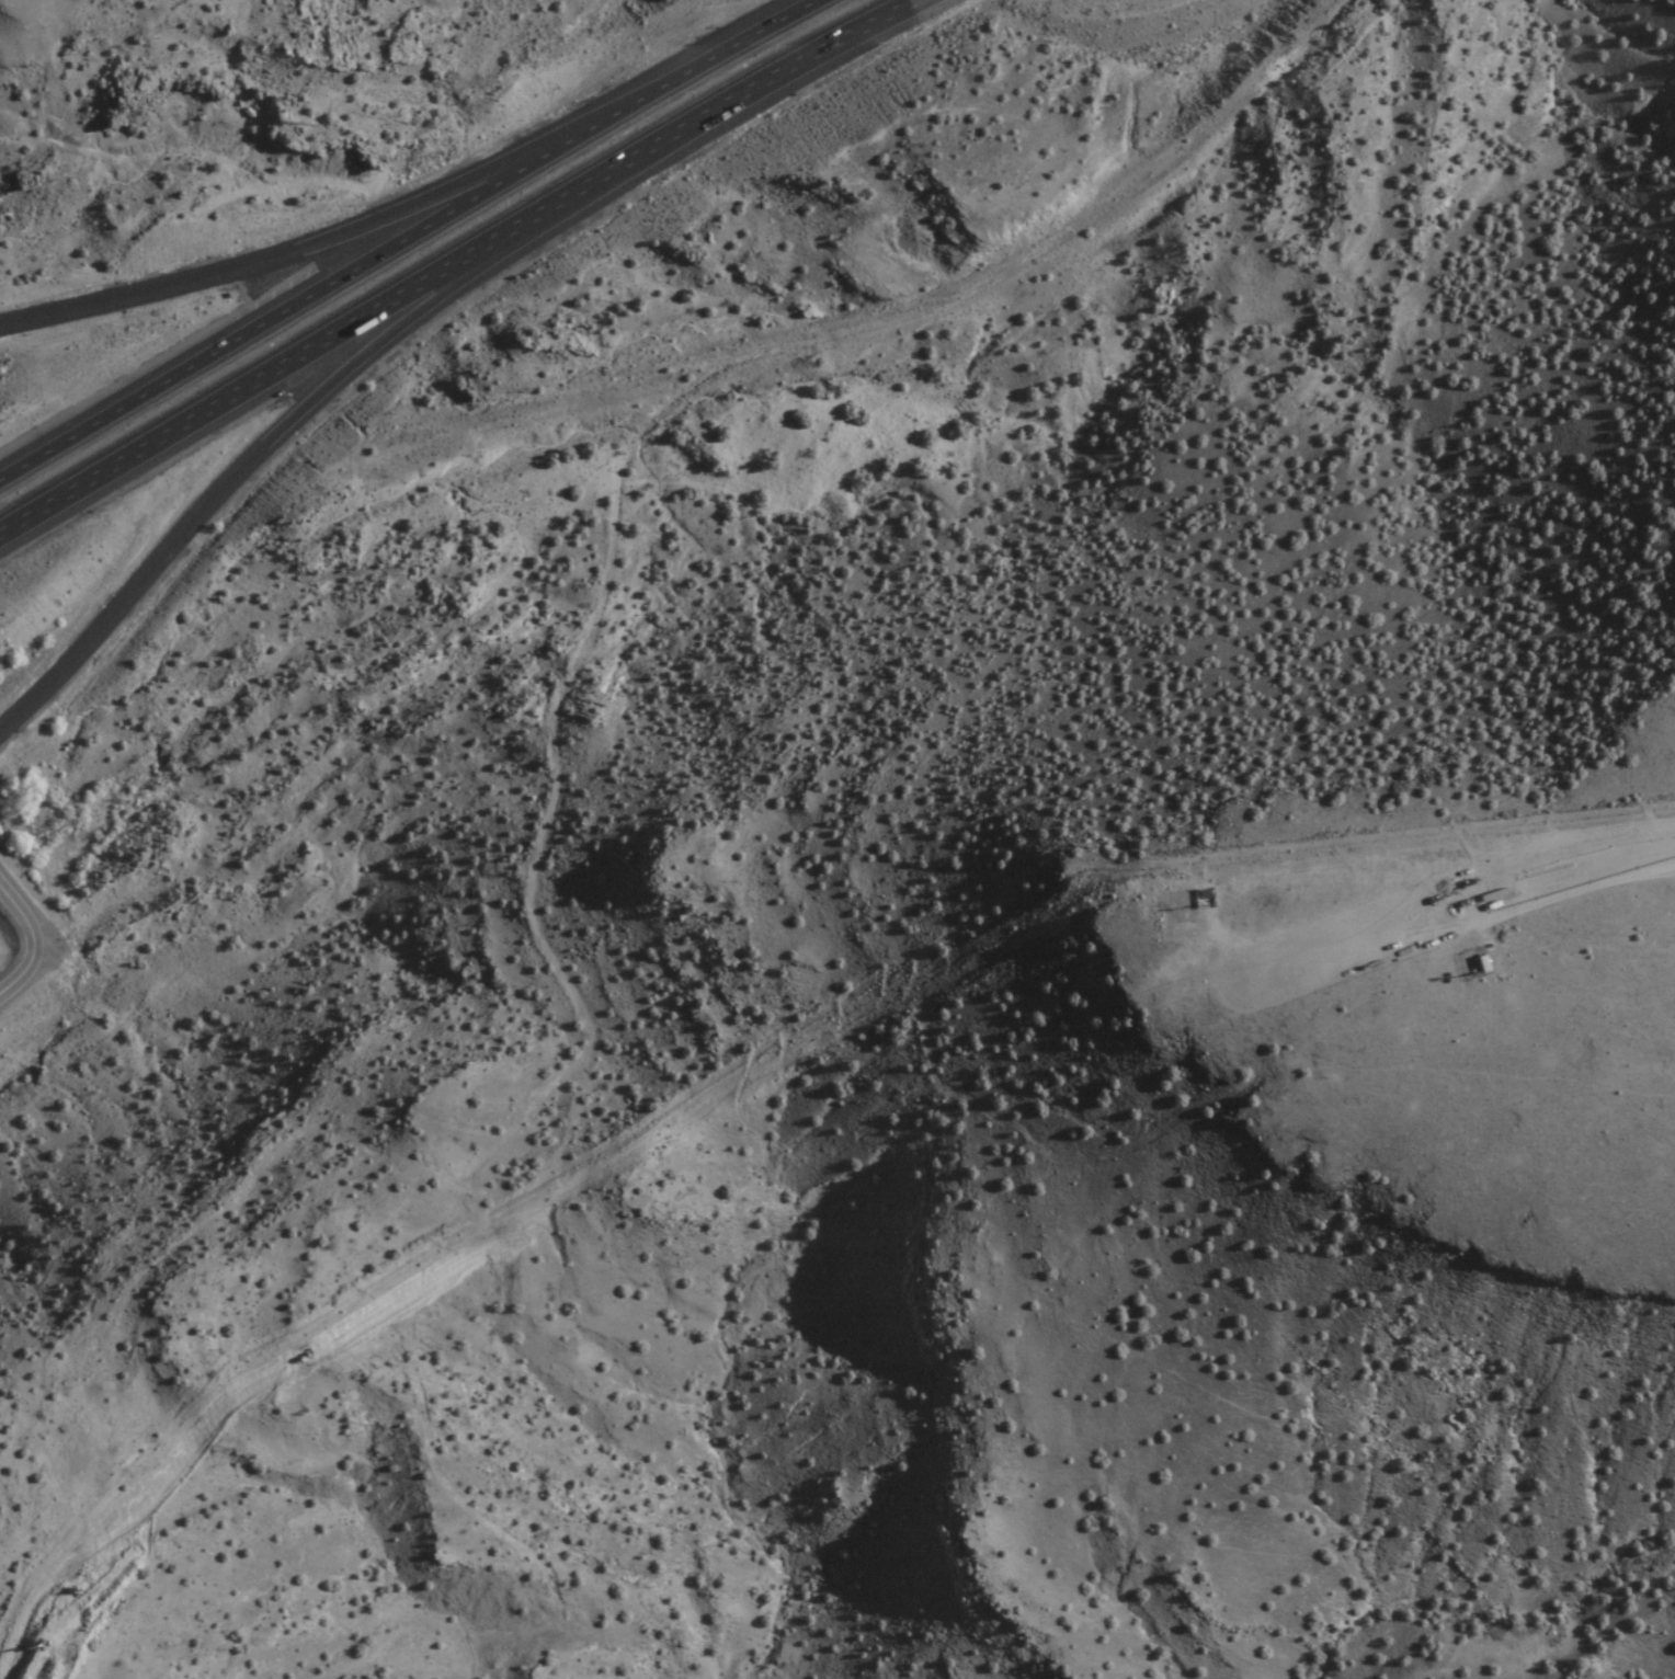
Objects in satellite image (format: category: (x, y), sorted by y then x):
road: (413, 236)
road: (310, 250)
road: (458, 263)
road: (270, 452)
building: (1183, 905)
road: (1596, 938)
road: (35, 944)
building: (1480, 966)

